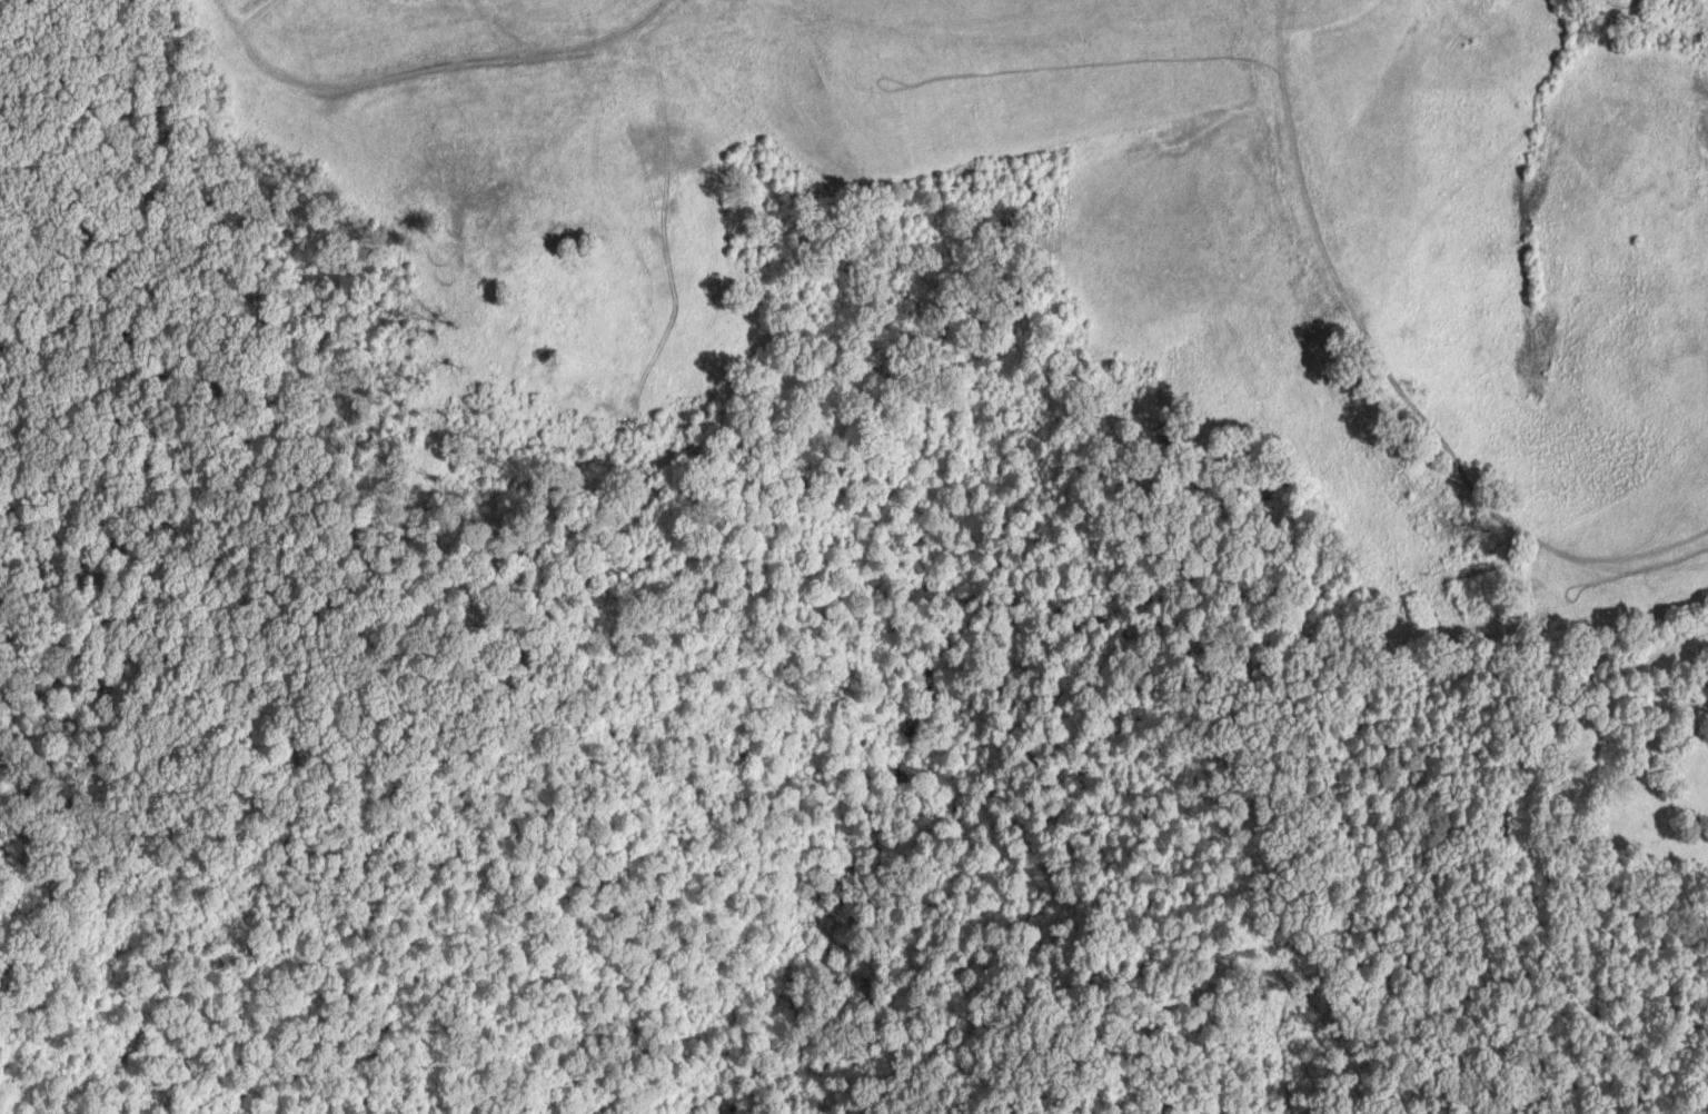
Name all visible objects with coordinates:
road: (1540, 21)
road: (1641, 611)

